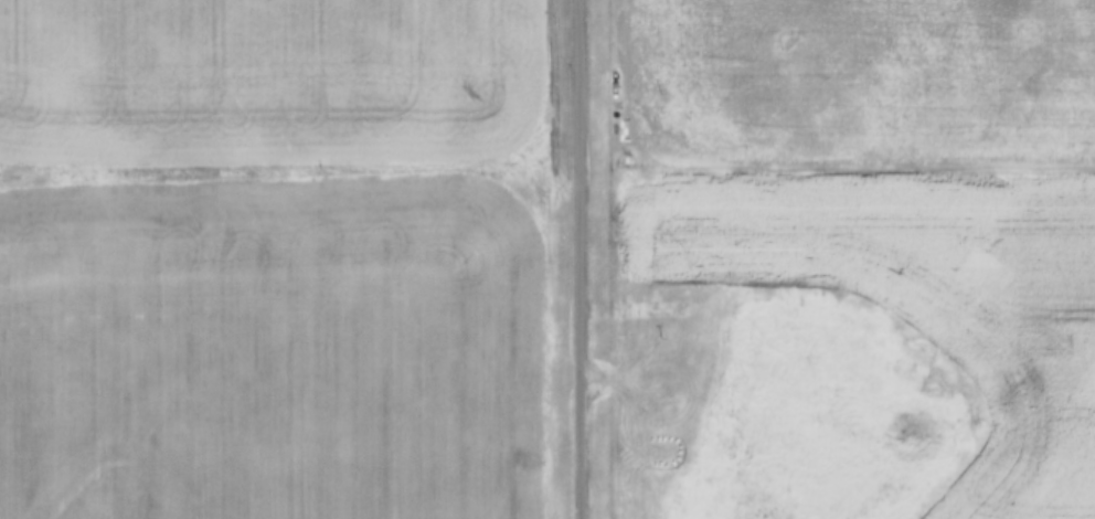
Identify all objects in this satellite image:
road: (583, 258)

